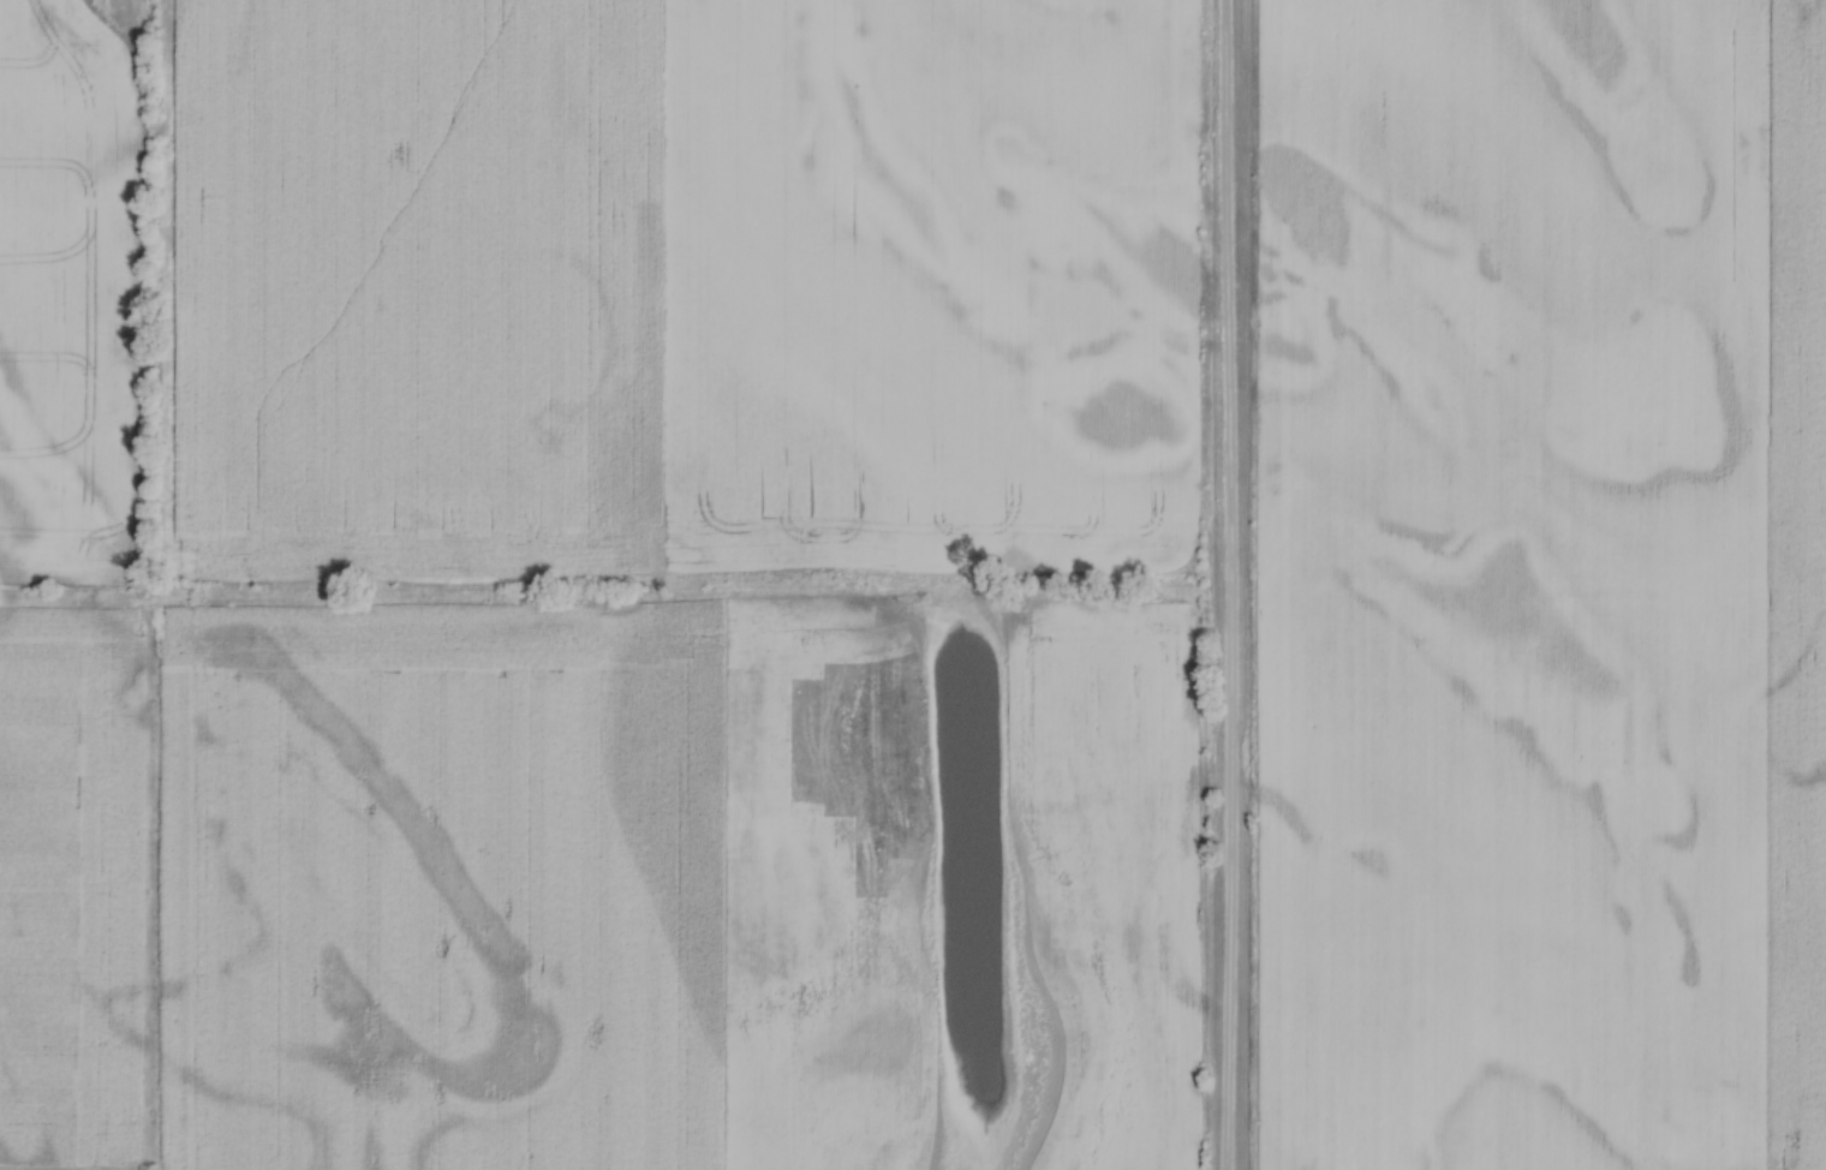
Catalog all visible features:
road: (1227, 584)

